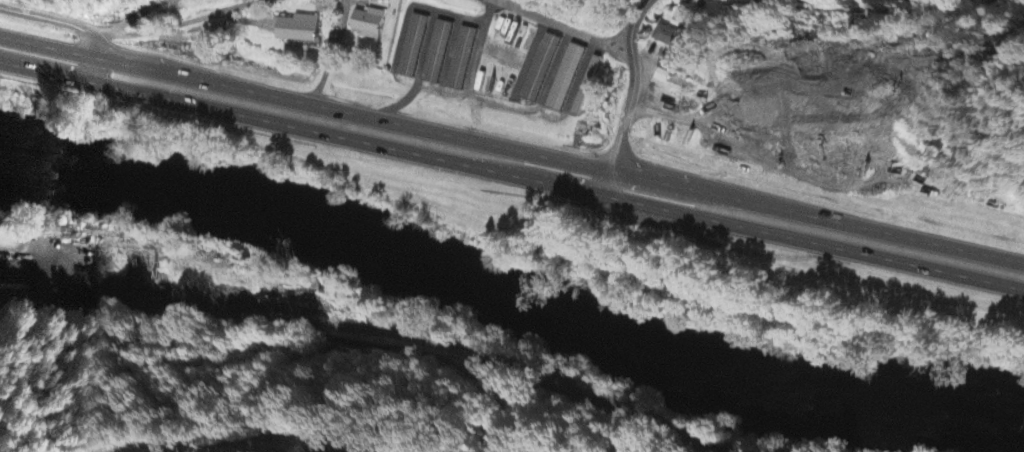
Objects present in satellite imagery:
road: (634, 14)
road: (70, 20)
road: (124, 21)
road: (170, 22)
building: (368, 25)
road: (562, 26)
building: (296, 30)
building: (665, 37)
building: (412, 47)
building: (437, 53)
building: (461, 59)
building: (540, 69)
building: (667, 70)
building: (565, 79)
road: (626, 113)
road: (511, 148)
road: (511, 176)
river: (250, 218)
road: (301, 310)
railway: (378, 328)
river: (749, 362)
river: (1013, 416)

